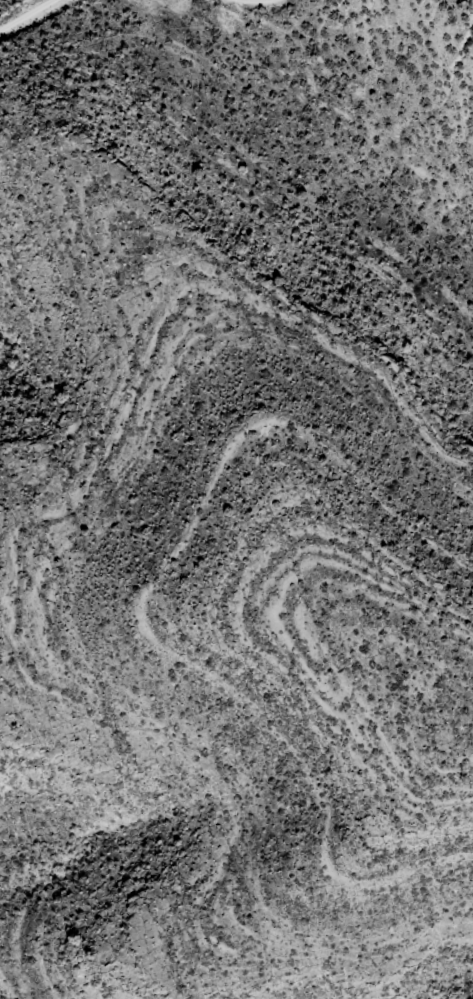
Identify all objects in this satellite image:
road: (24, 14)

